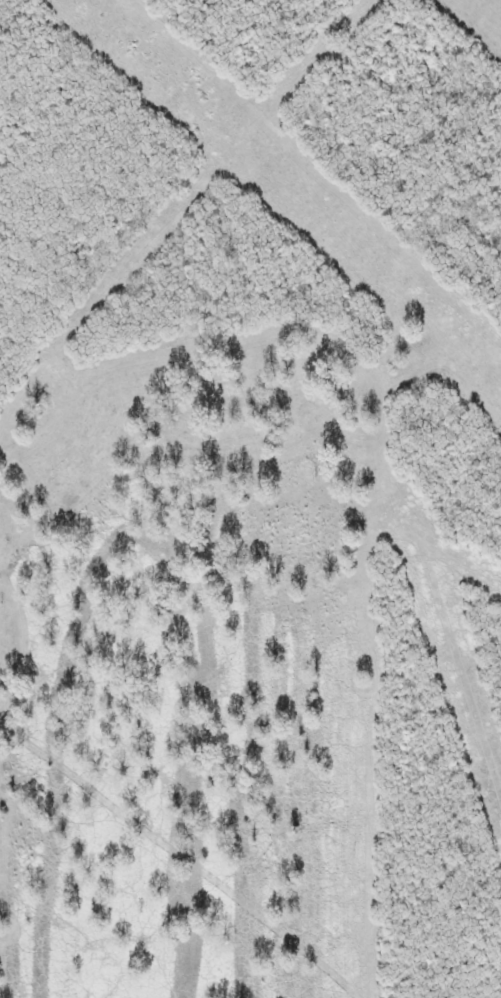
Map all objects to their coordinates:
road: (234, 181)

